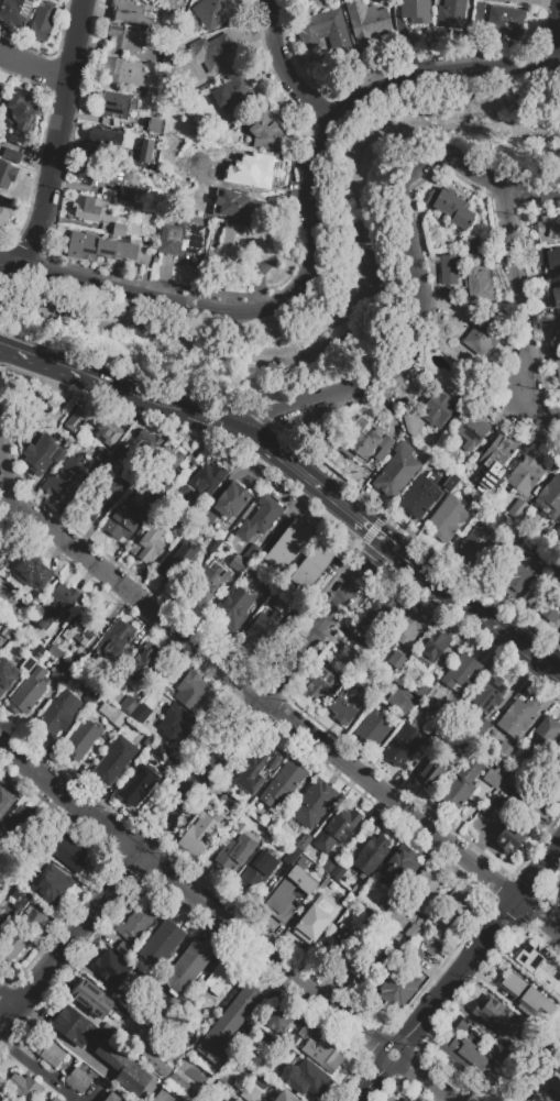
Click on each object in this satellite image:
building: (177, 0)
building: (496, 1)
building: (14, 11)
building: (212, 12)
building: (415, 12)
building: (133, 13)
building: (450, 13)
building: (365, 21)
building: (42, 22)
building: (504, 22)
building: (322, 30)
building: (130, 37)
road: (558, 49)
building: (215, 54)
road: (34, 65)
road: (287, 68)
building: (123, 70)
building: (233, 90)
building: (1, 93)
building: (157, 93)
building: (117, 104)
building: (21, 118)
building: (267, 129)
road: (58, 135)
building: (101, 135)
building: (146, 151)
building: (12, 155)
building: (182, 164)
building: (244, 166)
building: (98, 172)
building: (7, 174)
road: (529, 197)
building: (451, 208)
building: (89, 211)
building: (4, 213)
building: (548, 229)
building: (182, 241)
building: (231, 242)
building: (470, 242)
building: (83, 245)
road: (316, 246)
building: (118, 249)
building: (470, 255)
building: (551, 258)
road: (0, 264)
road: (0, 265)
building: (448, 269)
building: (480, 285)
building: (453, 293)
building: (553, 295)
road: (427, 317)
road: (526, 322)
building: (556, 332)
building: (482, 334)
building: (558, 368)
road: (107, 388)
building: (438, 409)
building: (91, 422)
building: (411, 423)
building: (471, 429)
road: (245, 437)
building: (332, 437)
building: (363, 442)
building: (147, 449)
building: (43, 453)
building: (494, 460)
building: (173, 465)
building: (396, 471)
building: (526, 473)
building: (65, 478)
building: (117, 481)
building: (207, 481)
building: (450, 482)
road: (13, 496)
building: (419, 496)
building: (101, 497)
road: (330, 497)
building: (549, 498)
building: (230, 499)
building: (517, 509)
road: (26, 510)
building: (129, 517)
building: (259, 518)
building: (447, 518)
building: (178, 528)
building: (558, 531)
building: (519, 536)
building: (149, 542)
building: (475, 544)
building: (286, 546)
building: (251, 552)
building: (178, 562)
building: (312, 563)
building: (237, 566)
building: (32, 572)
building: (523, 574)
building: (210, 577)
road: (436, 580)
building: (270, 587)
building: (8, 604)
building: (54, 605)
building: (233, 606)
building: (286, 608)
building: (385, 608)
road: (150, 609)
building: (551, 609)
road: (325, 620)
building: (373, 624)
building: (407, 627)
building: (263, 629)
building: (79, 630)
building: (6, 634)
building: (365, 642)
building: (114, 643)
building: (435, 646)
road: (521, 650)
building: (55, 651)
building: (347, 657)
building: (31, 658)
building: (149, 661)
building: (398, 663)
building: (461, 672)
building: (6, 674)
building: (61, 674)
building: (318, 684)
building: (30, 690)
building: (420, 690)
building: (195, 692)
building: (488, 693)
building: (90, 697)
building: (400, 701)
building: (345, 704)
building: (129, 705)
building: (59, 712)
building: (112, 713)
building: (140, 713)
building: (517, 717)
building: (175, 724)
building: (372, 727)
building: (481, 727)
building: (541, 737)
building: (83, 739)
building: (150, 740)
building: (404, 741)
building: (160, 751)
building: (113, 759)
building: (257, 767)
building: (557, 767)
building: (433, 771)
building: (494, 775)
road: (201, 778)
building: (136, 784)
building: (284, 784)
building: (460, 785)
road: (392, 799)
road: (70, 800)
building: (6, 803)
building: (226, 803)
building: (312, 803)
building: (209, 823)
building: (23, 825)
building: (238, 826)
building: (336, 828)
building: (509, 838)
building: (194, 841)
building: (303, 841)
building: (66, 851)
building: (233, 855)
building: (371, 855)
building: (290, 857)
building: (399, 862)
building: (330, 865)
building: (259, 868)
road: (540, 872)
building: (52, 884)
building: (355, 889)
building: (288, 890)
building: (424, 890)
building: (559, 894)
building: (17, 905)
building: (450, 909)
road: (540, 913)
building: (1, 914)
building: (37, 917)
building: (135, 925)
building: (308, 927)
building: (411, 931)
building: (162, 943)
building: (334, 943)
road: (70, 944)
building: (13, 945)
building: (123, 948)
road: (266, 955)
building: (415, 955)
building: (365, 961)
building: (539, 967)
building: (111, 968)
building: (186, 968)
building: (216, 975)
road: (457, 976)
building: (222, 982)
building: (394, 986)
building: (525, 993)
building: (94, 999)
road: (9, 1001)
building: (494, 1015)
building: (231, 1021)
building: (282, 1022)
building: (70, 1024)
building: (108, 1030)
building: (304, 1031)
road: (63, 1041)
building: (463, 1049)
building: (48, 1052)
building: (323, 1054)
building: (155, 1063)
building: (123, 1069)
road: (37, 1070)
building: (305, 1077)
road: (374, 1077)
road: (420, 1078)
building: (174, 1079)
building: (78, 1080)
building: (23, 1087)
building: (252, 1093)
building: (547, 1093)
road: (94, 1094)
building: (112, 1097)
building: (284, 1097)
building: (1, 1099)
building: (55, 1099)
building: (238, 1100)
building: (402, 1100)
building: (405, 1100)

